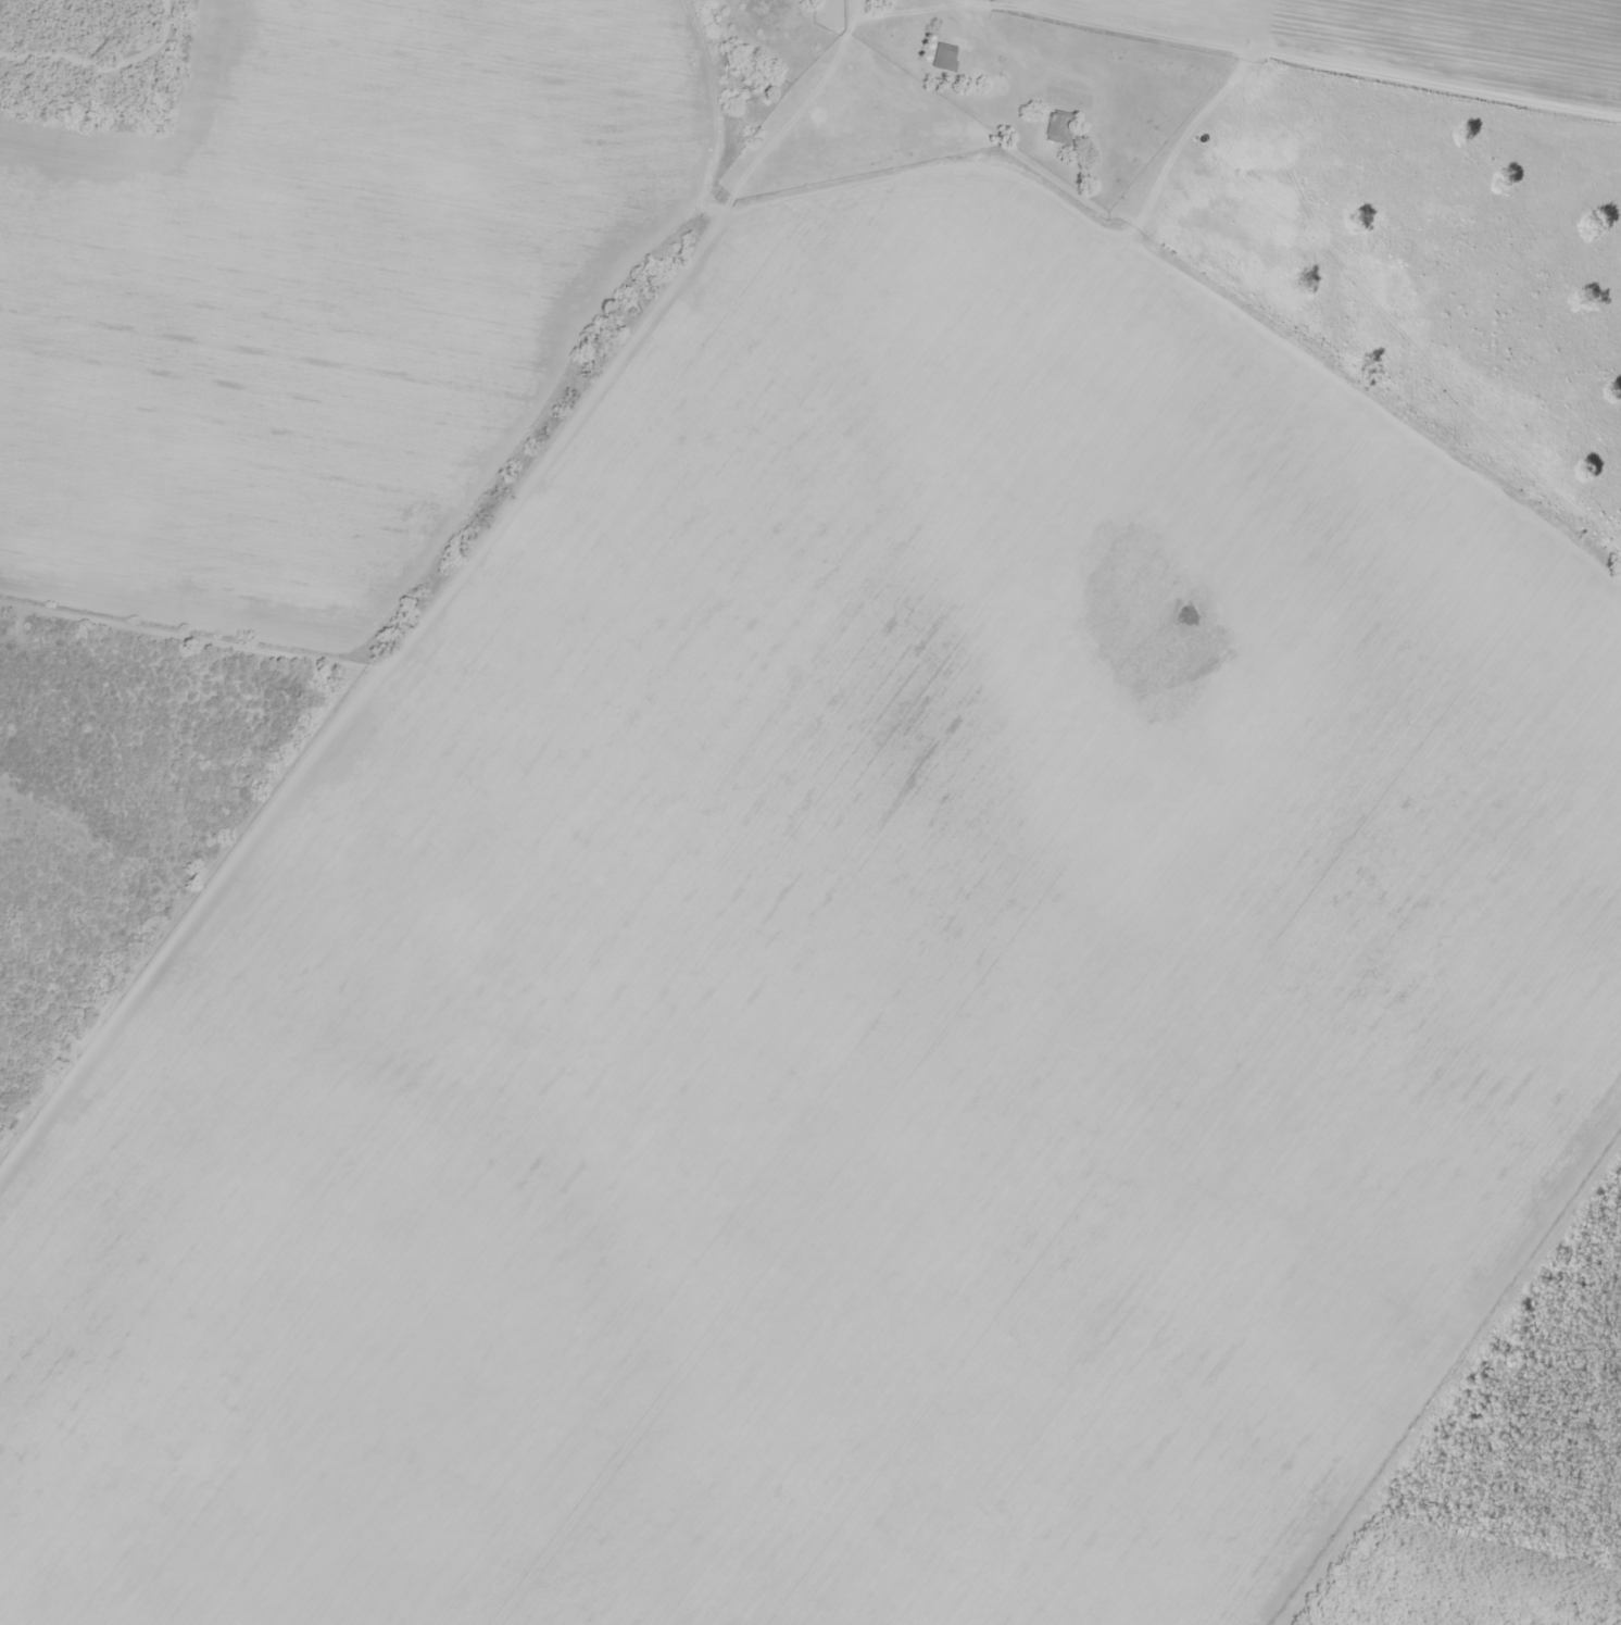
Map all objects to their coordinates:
building: (941, 57)
building: (1053, 128)
road: (657, 262)
road: (1568, 1462)

